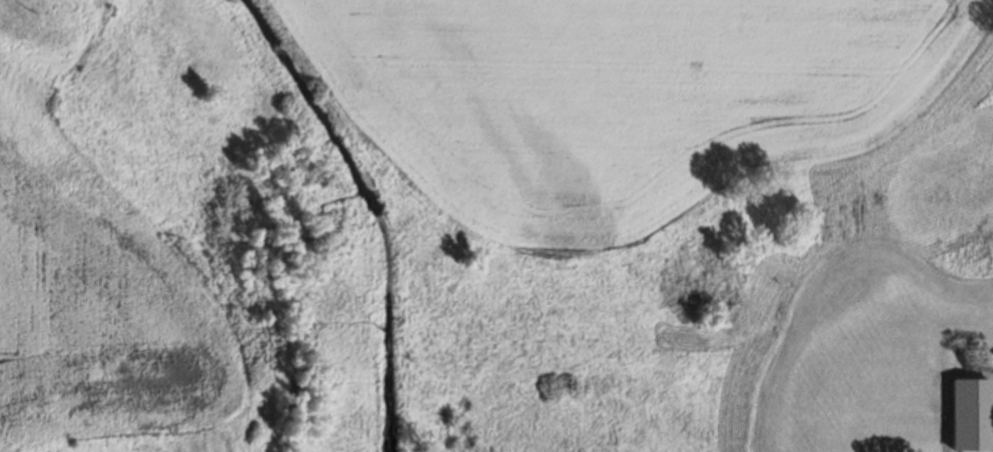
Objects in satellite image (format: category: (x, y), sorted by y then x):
building: (968, 412)

